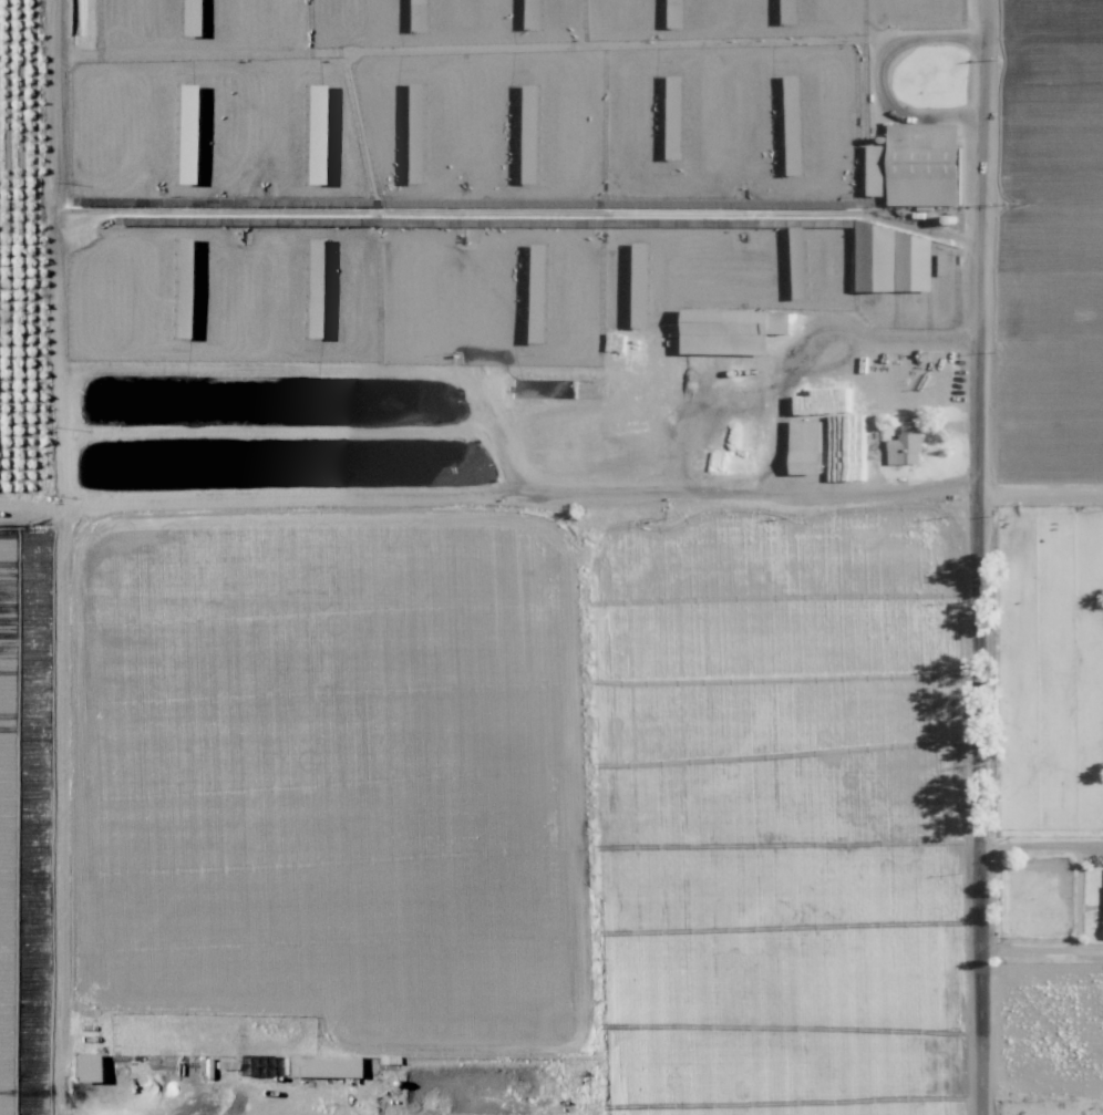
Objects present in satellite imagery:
building: (309, 131)
building: (175, 135)
building: (920, 164)
building: (873, 169)
building: (528, 171)
crop: (1056, 211)
building: (172, 259)
building: (891, 259)
building: (728, 330)
building: (904, 443)
building: (802, 446)
road: (1042, 491)
road: (983, 680)
crop: (535, 786)
crop: (24, 814)
road: (1043, 846)
road: (1043, 949)
building: (316, 1065)
building: (78, 1066)

